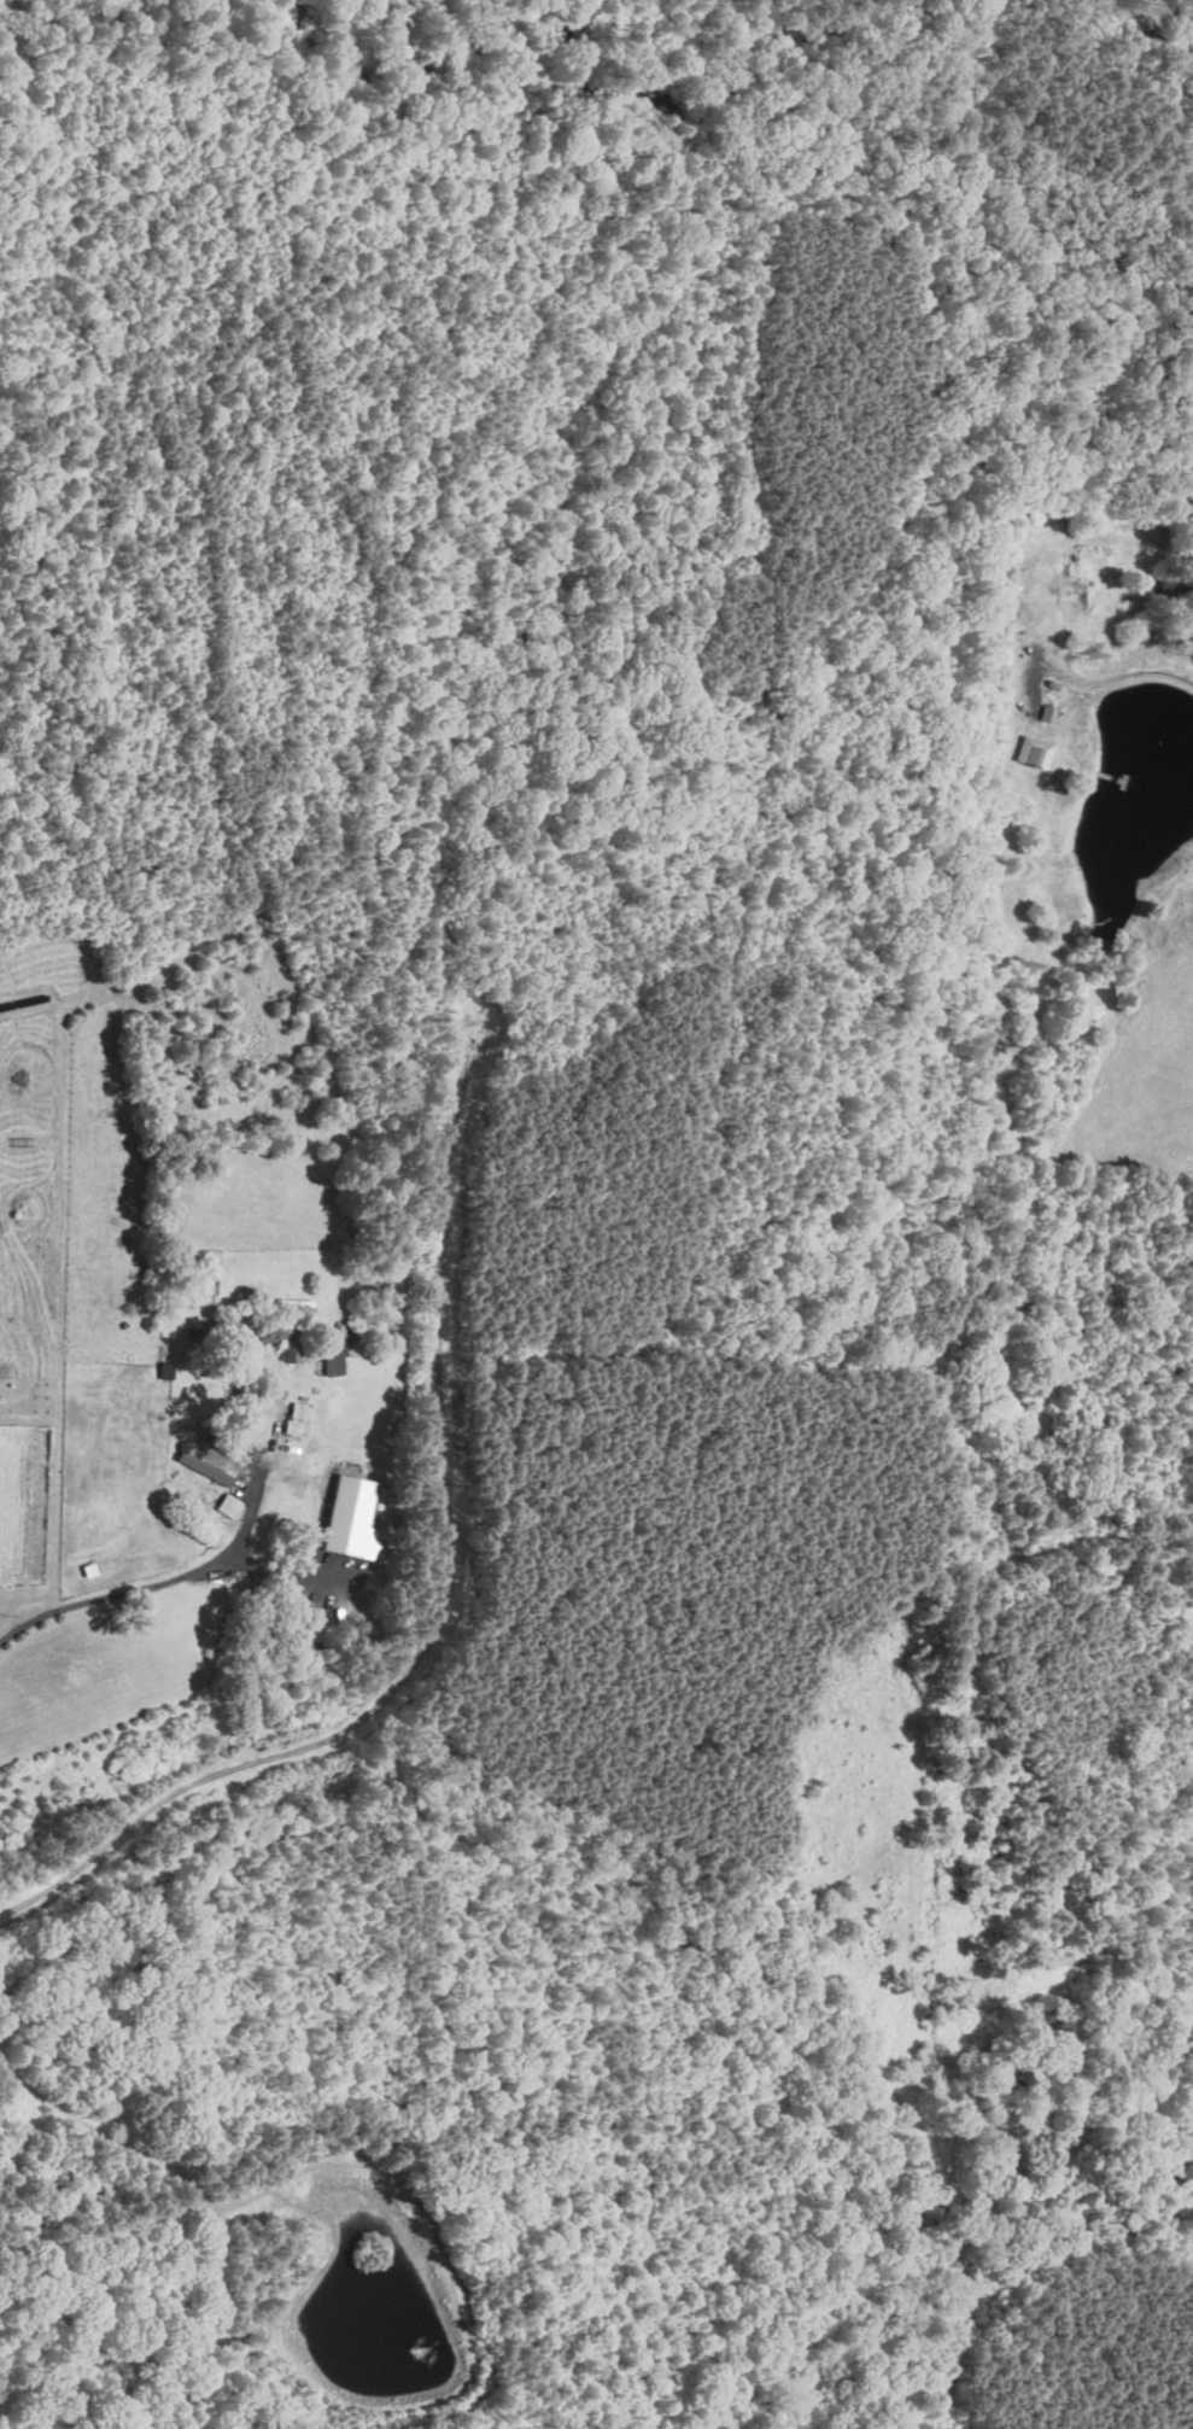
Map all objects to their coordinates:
road: (1141, 675)
building: (1031, 752)
building: (327, 1355)
building: (162, 1366)
building: (297, 1407)
building: (292, 1426)
building: (199, 1467)
building: (227, 1505)
building: (347, 1514)
building: (87, 1566)
road: (135, 1588)
road: (444, 1600)
road: (195, 2191)

